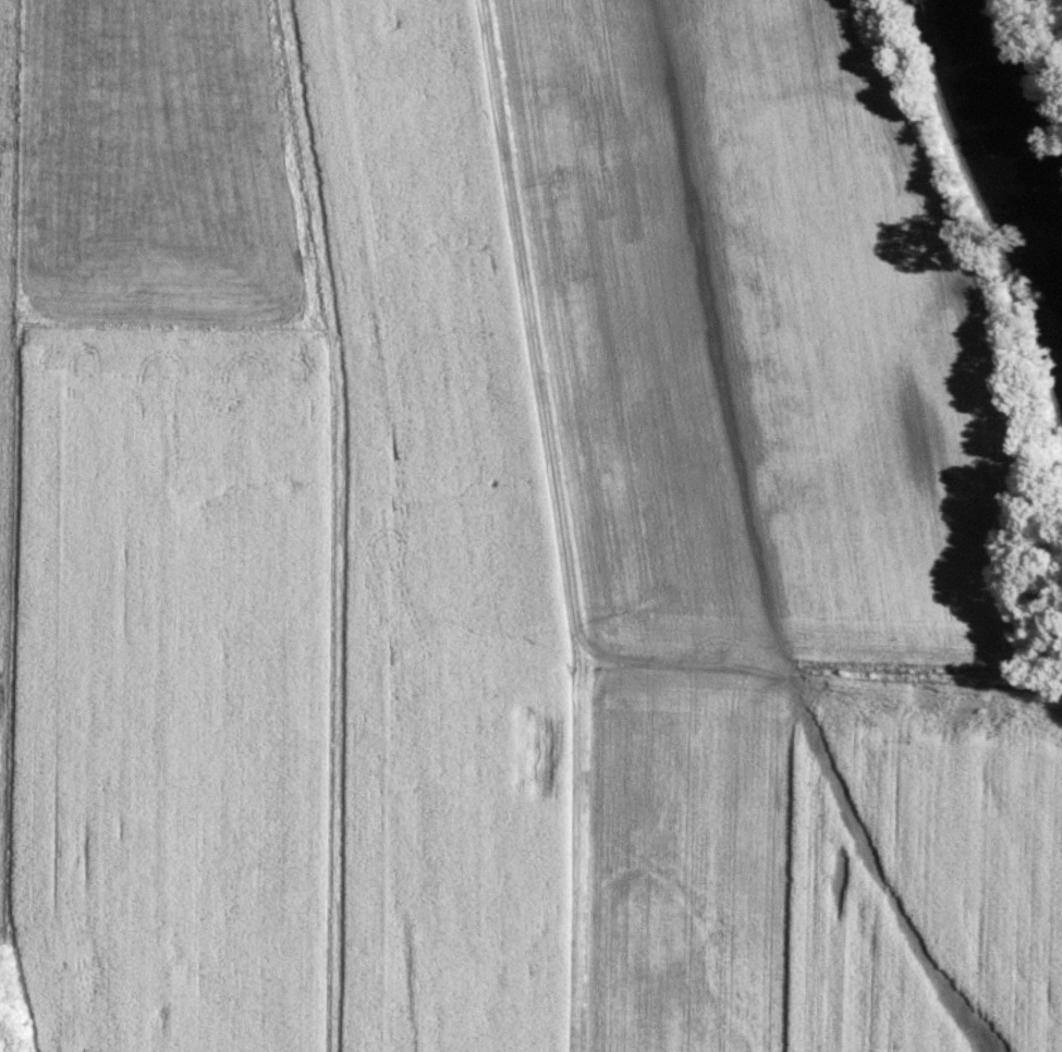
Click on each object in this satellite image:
river: (1021, 138)

